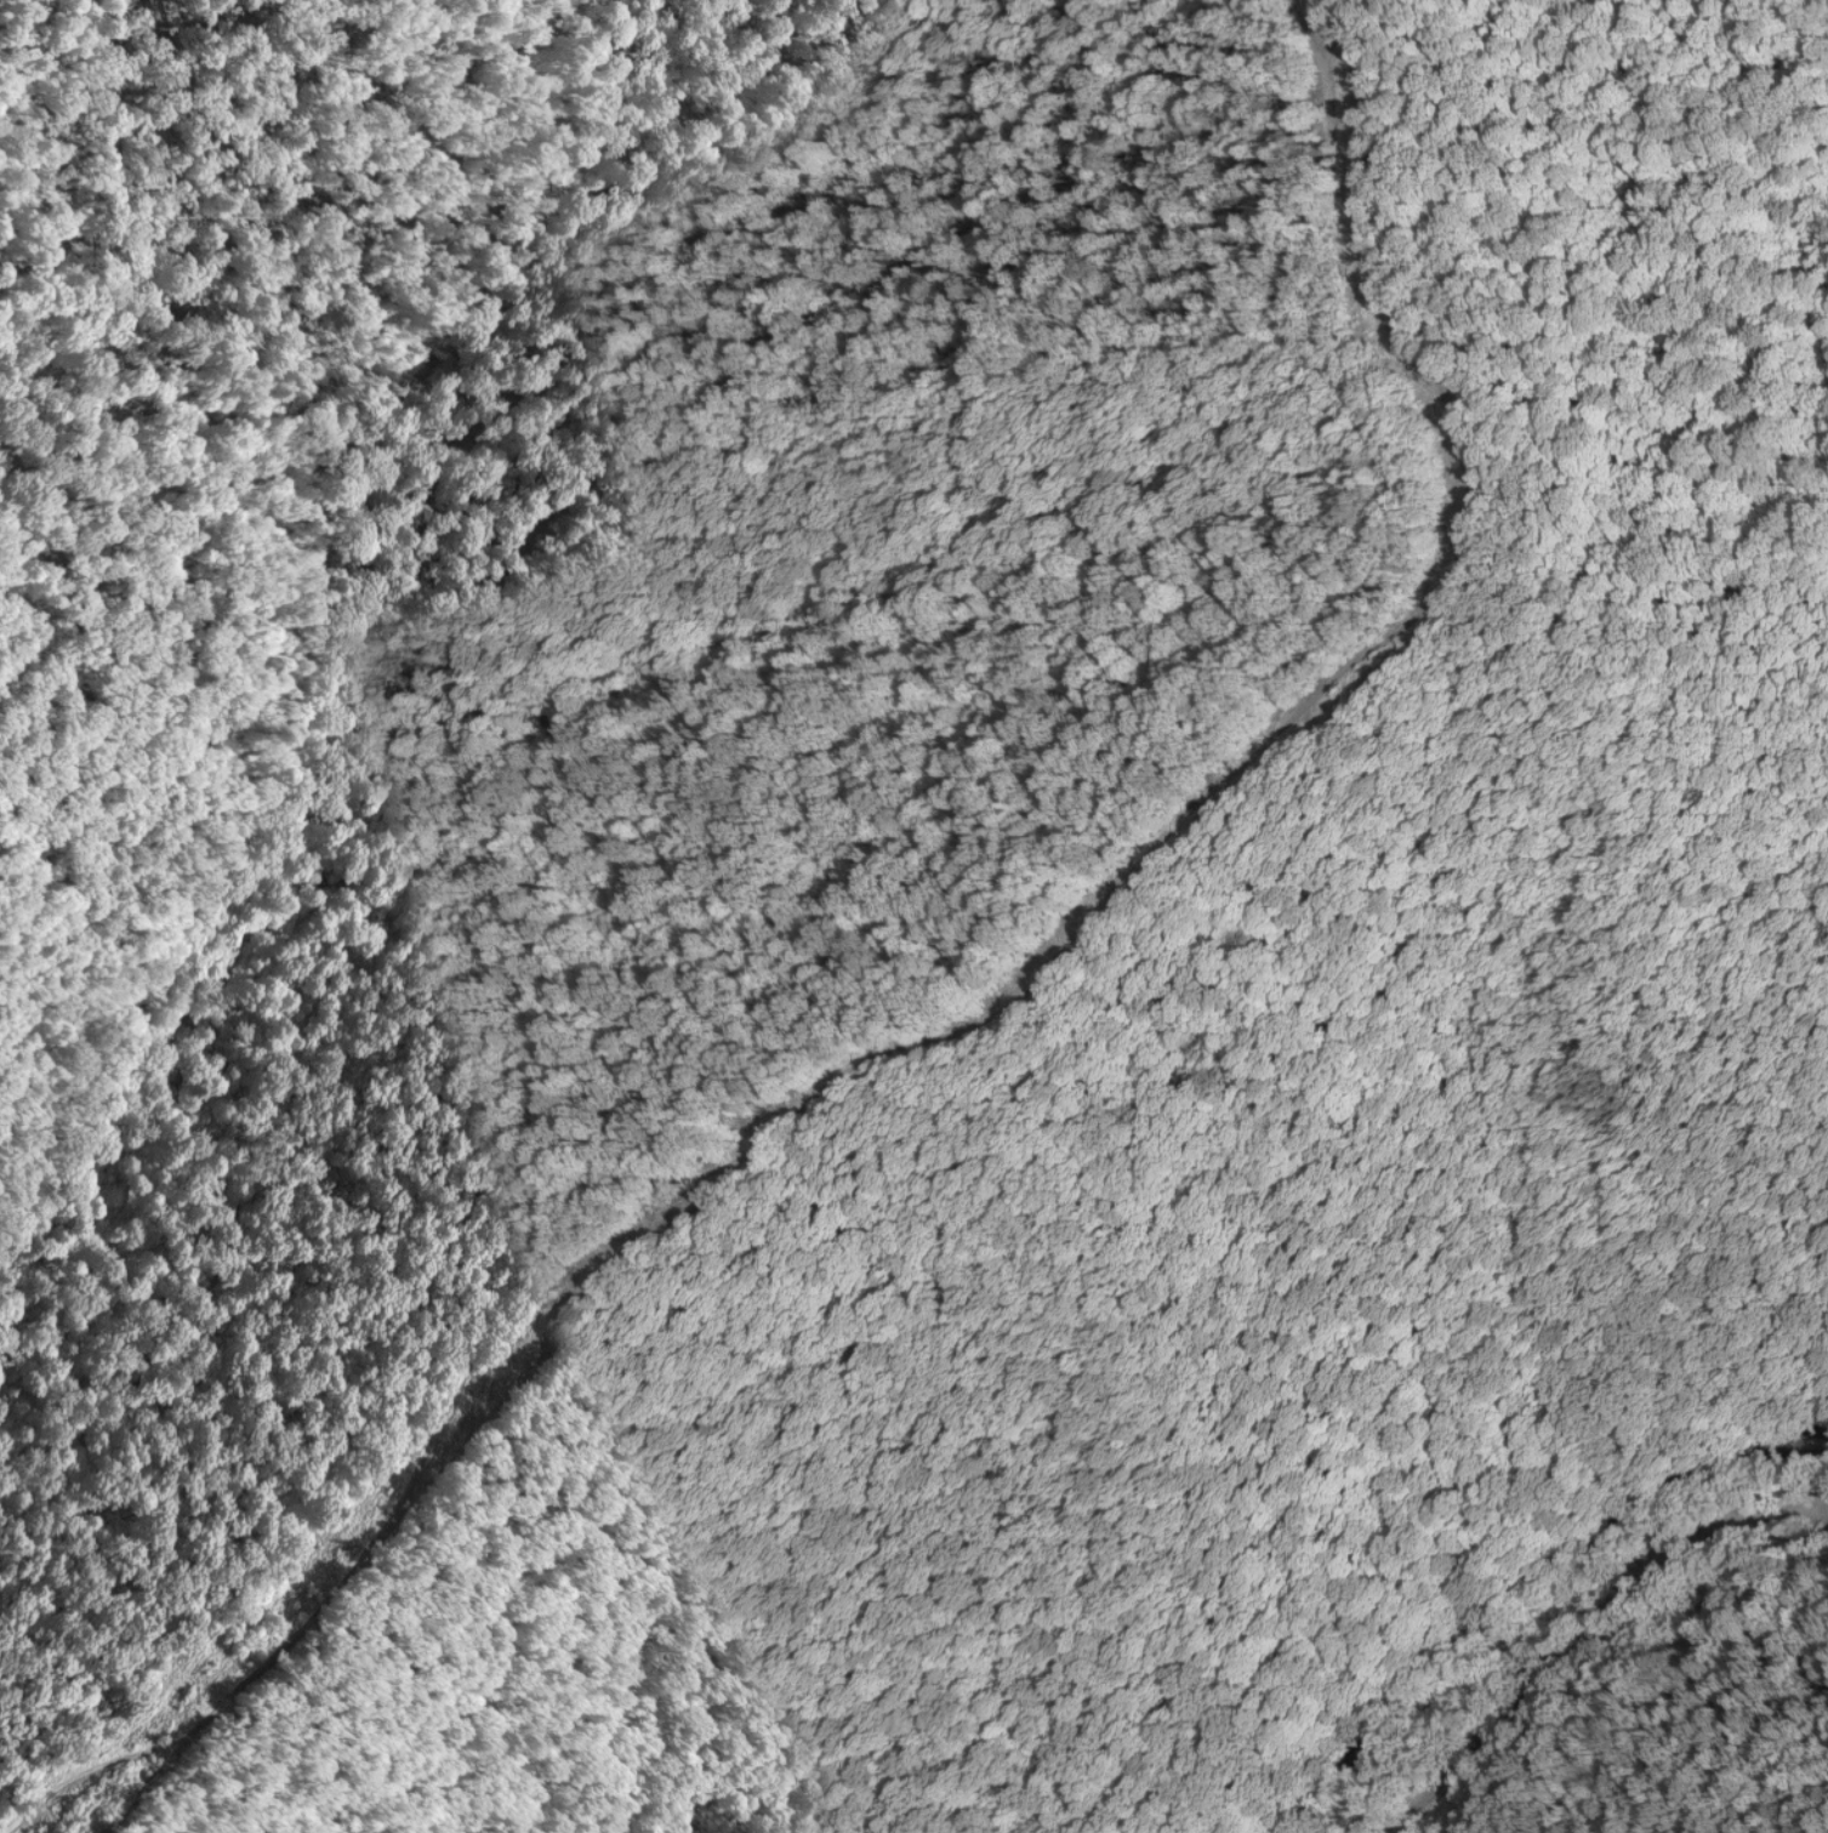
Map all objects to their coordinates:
road: (1599, 1647)

